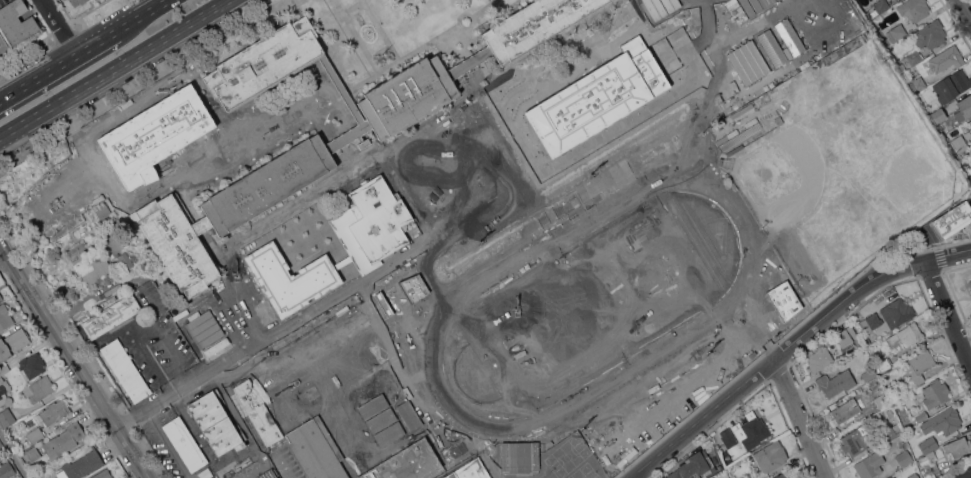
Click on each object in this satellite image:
building: (62, 0)
building: (77, 2)
building: (763, 3)
building: (670, 5)
building: (748, 7)
building: (879, 7)
building: (654, 9)
building: (913, 9)
road: (964, 10)
road: (143, 15)
building: (16, 21)
building: (534, 25)
road: (60, 26)
building: (896, 32)
building: (930, 34)
building: (788, 36)
building: (3, 43)
building: (771, 47)
building: (911, 58)
building: (946, 58)
building: (750, 60)
building: (469, 62)
building: (264, 63)
road: (59, 64)
road: (113, 69)
building: (918, 84)
building: (952, 85)
building: (341, 88)
building: (407, 96)
building: (598, 97)
building: (963, 107)
building: (637, 109)
building: (937, 114)
building: (969, 121)
building: (154, 135)
building: (363, 142)
building: (959, 143)
building: (446, 152)
building: (577, 161)
park: (839, 163)
building: (968, 169)
building: (416, 170)
building: (970, 177)
building: (268, 184)
building: (588, 188)
building: (523, 194)
building: (103, 211)
building: (544, 215)
building: (953, 219)
building: (474, 224)
building: (202, 225)
building: (176, 243)
building: (369, 245)
road: (6, 259)
building: (125, 260)
building: (95, 269)
building: (970, 281)
building: (413, 287)
building: (970, 288)
building: (66, 294)
track: (469, 294)
building: (1, 297)
building: (421, 297)
road: (87, 299)
building: (784, 300)
building: (383, 304)
park: (596, 306)
building: (899, 309)
road: (949, 311)
building: (111, 316)
building: (5, 317)
building: (870, 322)
building: (204, 327)
building: (905, 335)
building: (843, 337)
building: (868, 338)
building: (13, 343)
road: (791, 345)
building: (217, 346)
building: (752, 353)
road: (75, 357)
building: (820, 359)
building: (33, 364)
building: (883, 364)
building: (918, 366)
building: (4, 369)
building: (126, 369)
building: (326, 372)
building: (869, 374)
building: (835, 384)
building: (39, 389)
building: (3, 390)
building: (652, 391)
building: (935, 393)
building: (881, 400)
building: (372, 406)
building: (844, 411)
building: (54, 412)
building: (256, 412)
building: (889, 412)
building: (408, 415)
building: (921, 416)
building: (7, 418)
road: (798, 419)
building: (947, 419)
building: (380, 420)
building: (215, 423)
building: (754, 432)
building: (891, 432)
building: (388, 434)
building: (35, 435)
building: (729, 439)
building: (64, 440)
building: (853, 442)
building: (185, 444)
building: (928, 446)
building: (958, 446)
building: (1, 447)
building: (316, 450)
building: (33, 453)
road: (14, 455)
building: (519, 456)
building: (771, 456)
building: (904, 457)
road: (269, 463)
building: (405, 463)
building: (81, 465)
building: (870, 465)
building: (694, 467)
building: (928, 467)
building: (6, 470)
building: (470, 470)
building: (963, 472)
building: (103, 474)
building: (267, 474)
building: (782, 475)
building: (914, 475)
building: (743, 477)
building: (892, 477)

